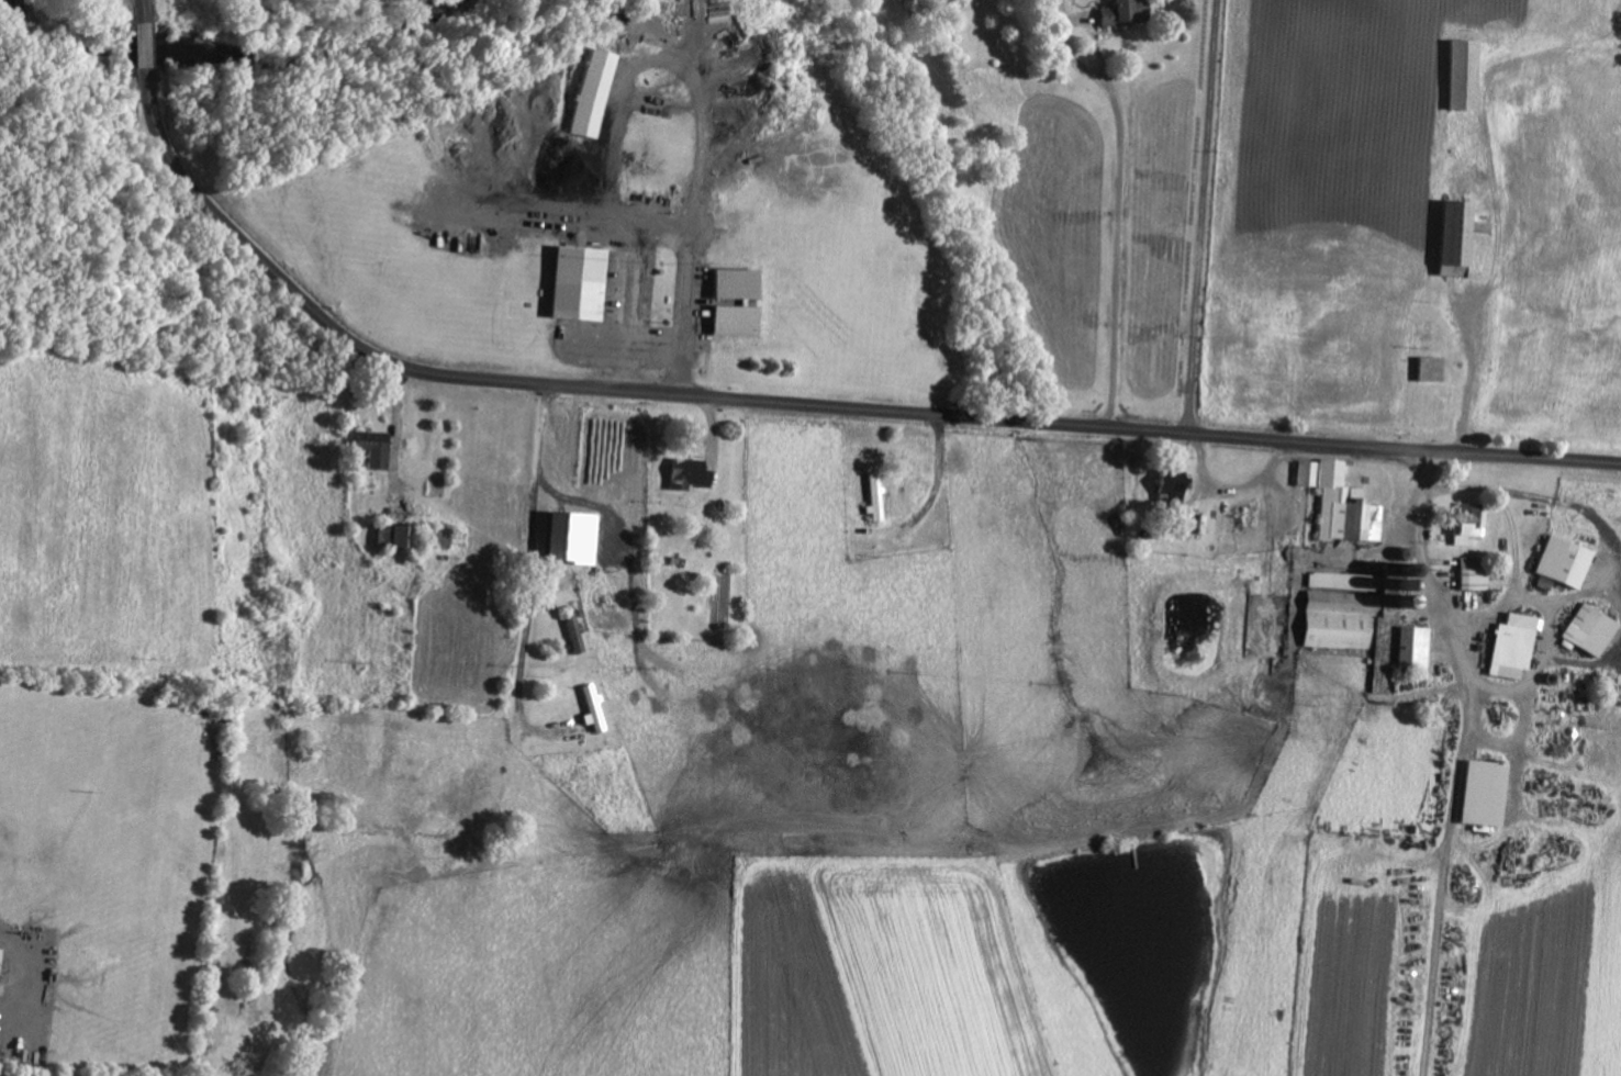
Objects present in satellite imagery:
building: (1121, 11)
building: (1457, 72)
building: (585, 91)
road: (1120, 209)
road: (1205, 216)
road: (662, 233)
building: (1457, 239)
building: (571, 282)
building: (730, 282)
road: (772, 402)
building: (369, 447)
building: (683, 472)
building: (1167, 485)
road: (551, 491)
building: (1334, 500)
building: (1463, 525)
building: (388, 535)
building: (562, 537)
building: (1557, 559)
building: (1468, 576)
building: (1356, 613)
building: (1584, 627)
building: (574, 631)
building: (1510, 640)
building: (594, 706)
road: (1463, 759)
building: (1477, 791)
building: (2, 959)

